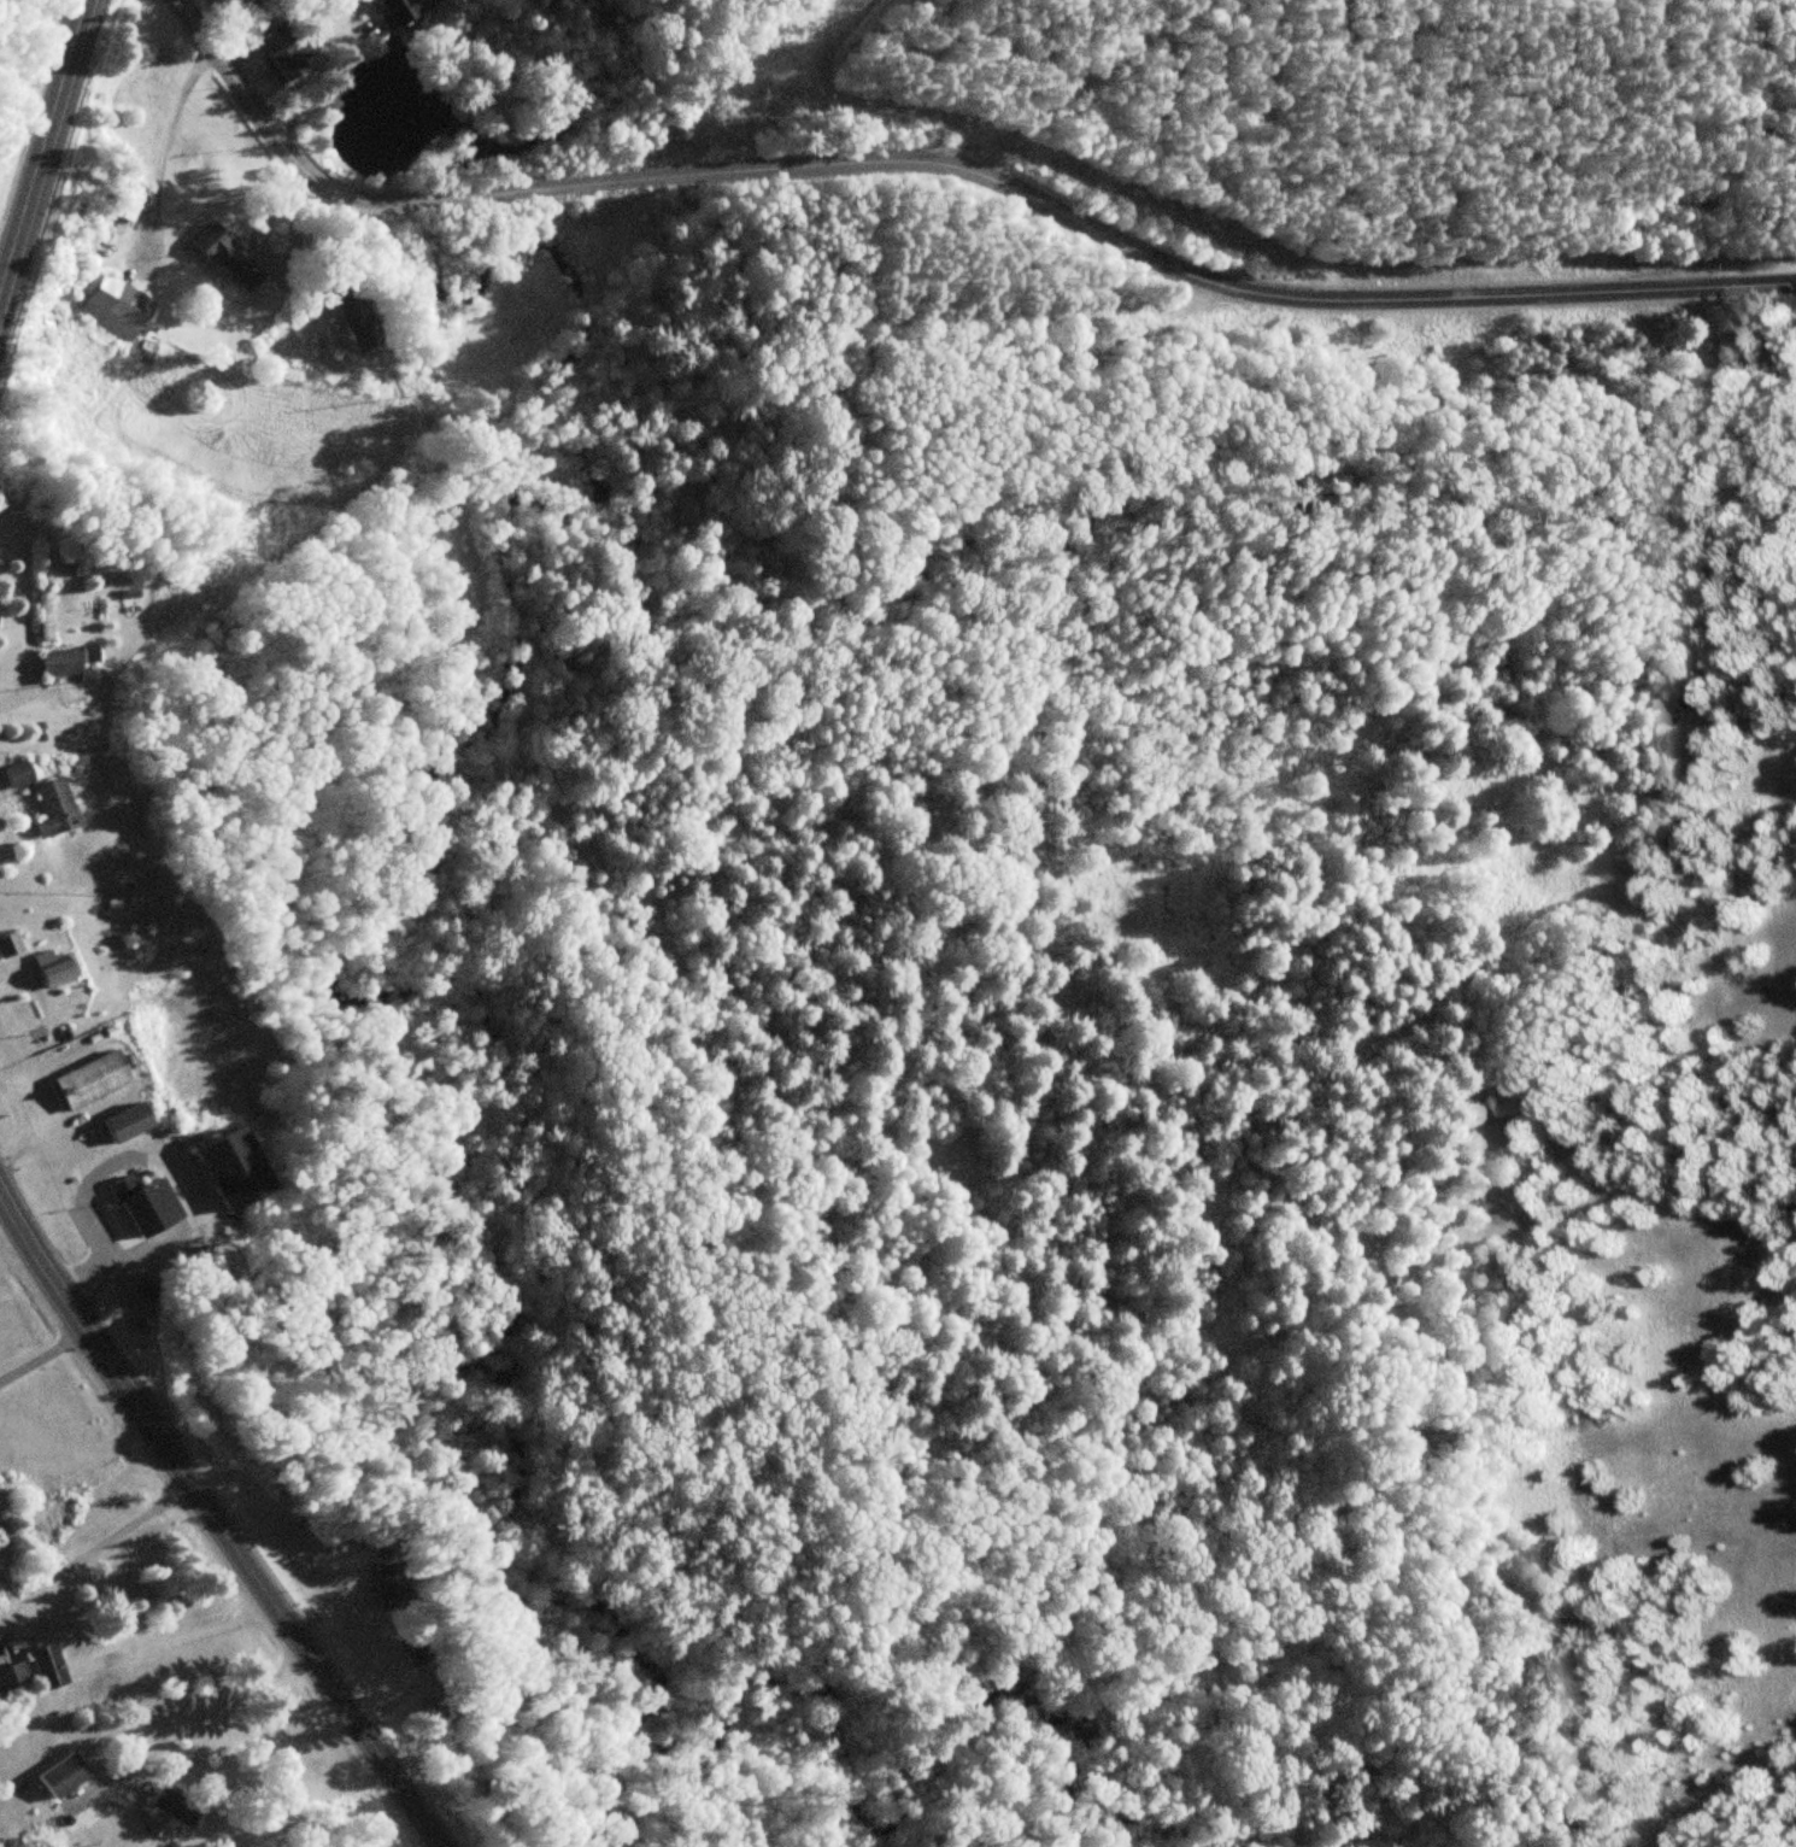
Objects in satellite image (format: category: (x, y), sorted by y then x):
building: (401, 12)
building: (286, 63)
road: (891, 112)
road: (47, 147)
road: (947, 162)
building: (128, 201)
building: (229, 258)
building: (118, 306)
building: (356, 318)
building: (47, 611)
building: (72, 661)
road: (16, 692)
building: (1695, 698)
building: (20, 773)
building: (57, 807)
building: (12, 949)
building: (57, 968)
building: (93, 1079)
building: (129, 1121)
building: (235, 1167)
building: (147, 1202)
road: (211, 1518)
road: (93, 1549)
building: (388, 1599)
road: (176, 1634)
building: (413, 1653)
building: (49, 1666)
building: (12, 1677)
road: (147, 1751)
building: (64, 1775)
building: (174, 1804)

